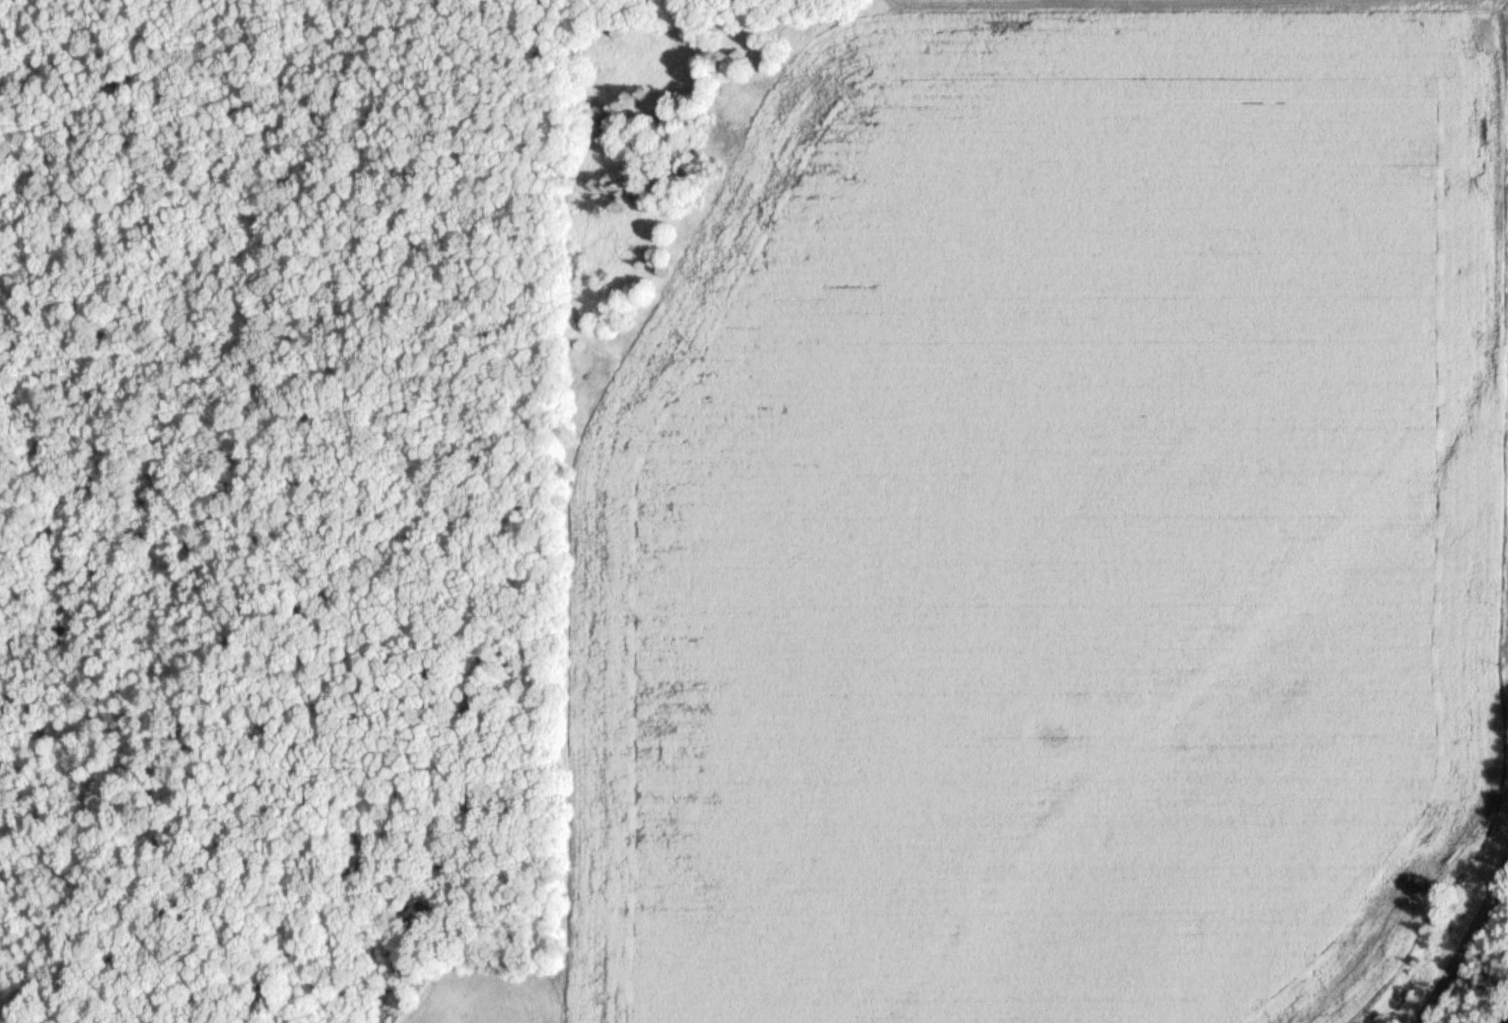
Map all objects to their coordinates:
road: (1465, 938)

